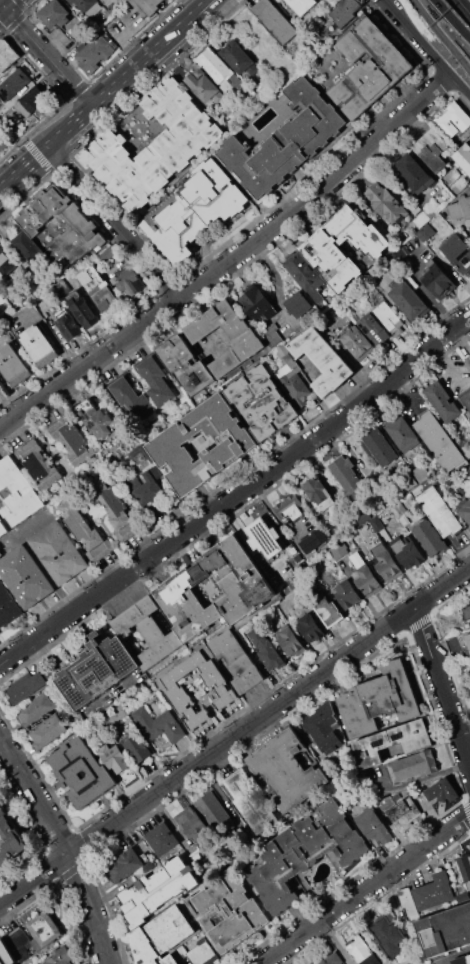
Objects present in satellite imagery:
road: (467, 3)
road: (8, 4)
road: (2, 5)
building: (85, 5)
building: (146, 6)
building: (302, 6)
traffic signals: (4, 8)
road: (2, 9)
building: (345, 10)
building: (53, 14)
road: (452, 18)
road: (401, 20)
building: (275, 21)
road: (115, 33)
road: (443, 33)
building: (95, 53)
road: (46, 55)
building: (7, 56)
building: (239, 57)
road: (444, 65)
building: (368, 67)
building: (221, 73)
building: (13, 83)
building: (202, 84)
road: (100, 92)
building: (32, 102)
building: (453, 119)
building: (288, 138)
building: (1, 146)
building: (153, 147)
building: (432, 150)
building: (463, 157)
building: (414, 173)
building: (387, 203)
building: (461, 206)
building: (189, 210)
road: (112, 220)
building: (62, 229)
building: (424, 232)
building: (16, 243)
building: (342, 247)
building: (458, 252)
road: (234, 258)
building: (5, 270)
building: (305, 277)
building: (129, 280)
building: (438, 282)
road: (274, 285)
building: (99, 289)
building: (409, 300)
building: (255, 302)
building: (296, 304)
building: (82, 311)
building: (386, 316)
building: (68, 324)
building: (373, 330)
building: (272, 334)
building: (224, 338)
building: (357, 342)
building: (38, 345)
road: (340, 349)
building: (468, 359)
building: (323, 361)
building: (183, 362)
building: (14, 365)
road: (444, 366)
building: (157, 381)
building: (0, 387)
building: (296, 387)
building: (466, 398)
building: (131, 400)
building: (441, 401)
building: (262, 403)
building: (100, 422)
building: (403, 434)
building: (72, 440)
building: (439, 440)
building: (202, 445)
building: (380, 447)
building: (38, 464)
building: (348, 477)
building: (151, 489)
building: (17, 492)
road: (237, 493)
building: (319, 495)
building: (398, 509)
building: (464, 509)
building: (116, 511)
building: (292, 511)
building: (440, 512)
road: (279, 521)
building: (376, 524)
building: (4, 527)
building: (84, 528)
building: (263, 538)
building: (431, 538)
building: (313, 541)
road: (463, 548)
building: (338, 550)
building: (59, 552)
building: (406, 552)
building: (385, 564)
building: (25, 576)
building: (364, 576)
building: (249, 589)
building: (347, 594)
building: (7, 608)
building: (328, 612)
building: (467, 612)
building: (309, 627)
building: (149, 632)
building: (467, 641)
building: (290, 643)
building: (265, 649)
building: (237, 661)
building: (98, 668)
road: (443, 686)
building: (25, 688)
building: (176, 695)
building: (381, 699)
building: (36, 709)
building: (160, 724)
building: (322, 729)
building: (47, 732)
road: (235, 738)
building: (393, 742)
building: (138, 748)
building: (114, 757)
building: (412, 767)
building: (287, 770)
building: (81, 771)
road: (413, 781)
building: (442, 789)
building: (250, 802)
building: (213, 814)
building: (404, 814)
building: (193, 826)
building: (375, 827)
building: (162, 838)
building: (10, 839)
road: (65, 845)
building: (302, 852)
building: (124, 865)
building: (463, 871)
building: (157, 889)
road: (365, 889)
building: (435, 891)
building: (407, 901)
building: (227, 910)
building: (44, 929)
building: (445, 931)
building: (161, 935)
building: (388, 937)
building: (19, 944)
building: (200, 951)
building: (5, 953)
building: (361, 953)
building: (61, 956)
building: (332, 959)
building: (461, 960)

